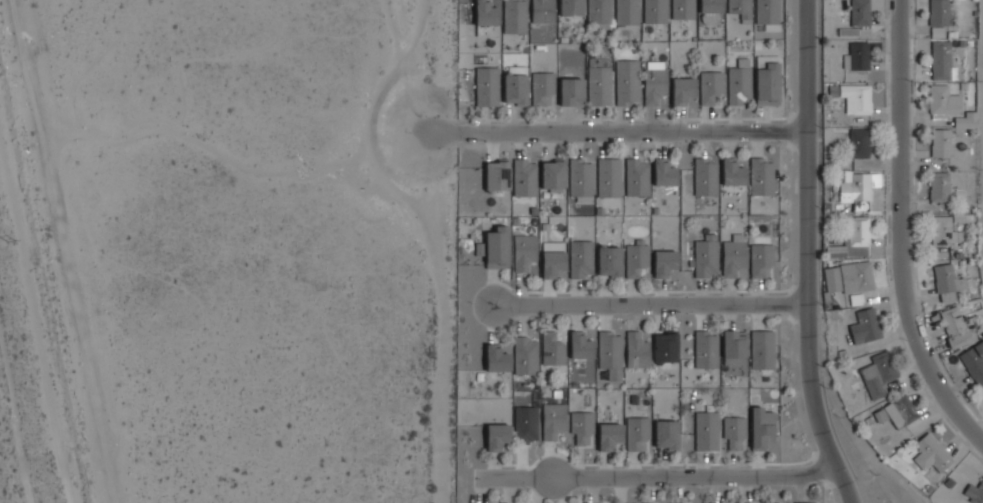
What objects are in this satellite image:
building: (710, 6)
building: (570, 7)
building: (739, 7)
building: (682, 9)
building: (542, 11)
building: (598, 11)
building: (654, 11)
building: (767, 11)
building: (938, 12)
building: (485, 13)
building: (626, 13)
building: (859, 13)
building: (514, 16)
building: (848, 31)
building: (856, 56)
building: (940, 60)
road: (417, 68)
building: (627, 79)
building: (599, 81)
building: (738, 83)
building: (515, 85)
building: (654, 85)
building: (486, 86)
building: (541, 87)
building: (709, 87)
building: (767, 87)
building: (682, 89)
building: (571, 92)
building: (857, 97)
building: (942, 102)
building: (966, 120)
road: (610, 134)
building: (858, 143)
building: (940, 143)
building: (663, 172)
building: (732, 172)
building: (496, 175)
building: (553, 175)
building: (609, 175)
building: (705, 176)
building: (636, 177)
building: (761, 177)
building: (523, 178)
building: (580, 180)
building: (939, 186)
building: (855, 187)
road: (901, 230)
building: (944, 231)
building: (853, 239)
power tower: (11, 242)
building: (497, 248)
building: (635, 252)
building: (733, 255)
road: (807, 255)
building: (581, 256)
building: (705, 257)
building: (552, 258)
building: (760, 260)
building: (609, 261)
building: (664, 261)
building: (520, 262)
building: (856, 277)
building: (832, 278)
building: (943, 278)
road: (650, 305)
building: (865, 326)
building: (955, 328)
building: (578, 339)
building: (666, 346)
building: (739, 346)
building: (762, 348)
building: (552, 349)
building: (609, 349)
building: (636, 350)
building: (705, 350)
building: (525, 356)
building: (496, 358)
building: (974, 362)
building: (876, 375)
building: (981, 396)
building: (903, 409)
building: (552, 420)
building: (526, 423)
building: (581, 426)
building: (761, 428)
building: (706, 430)
building: (733, 431)
building: (636, 432)
building: (666, 434)
building: (496, 436)
building: (608, 436)
building: (931, 452)
road: (664, 477)
building: (974, 492)
building: (675, 502)
building: (724, 502)
building: (755, 502)
building: (773, 502)
building: (806, 502)

